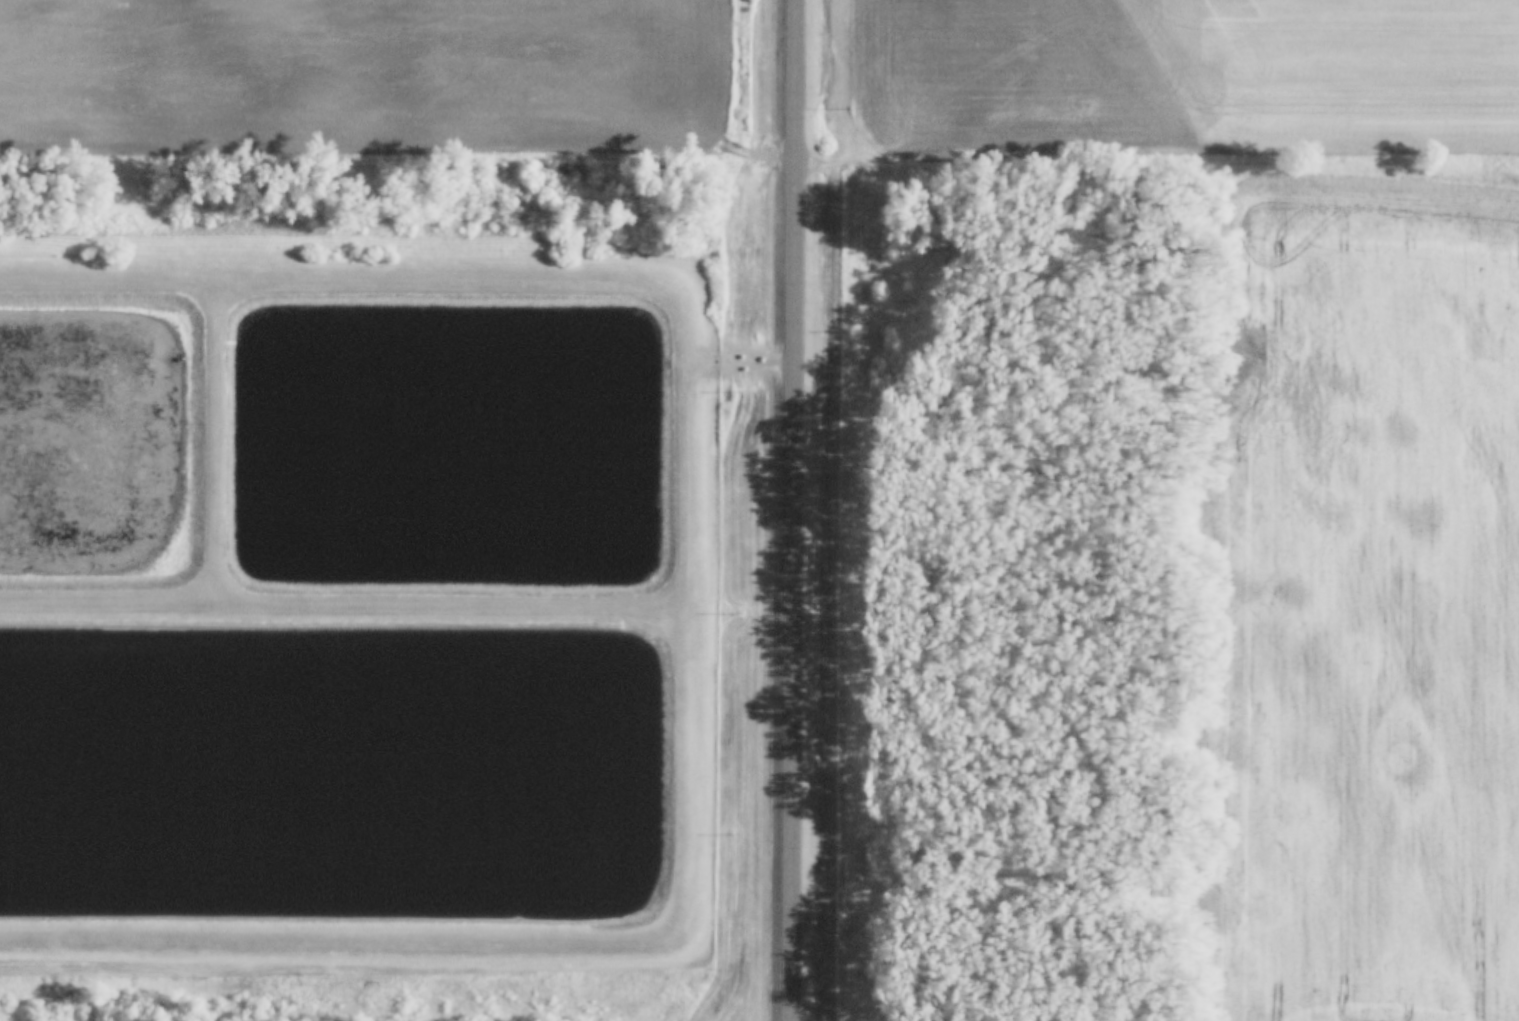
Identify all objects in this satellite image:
road: (739, 363)
road: (215, 444)
road: (792, 510)
road: (344, 609)
road: (688, 611)

